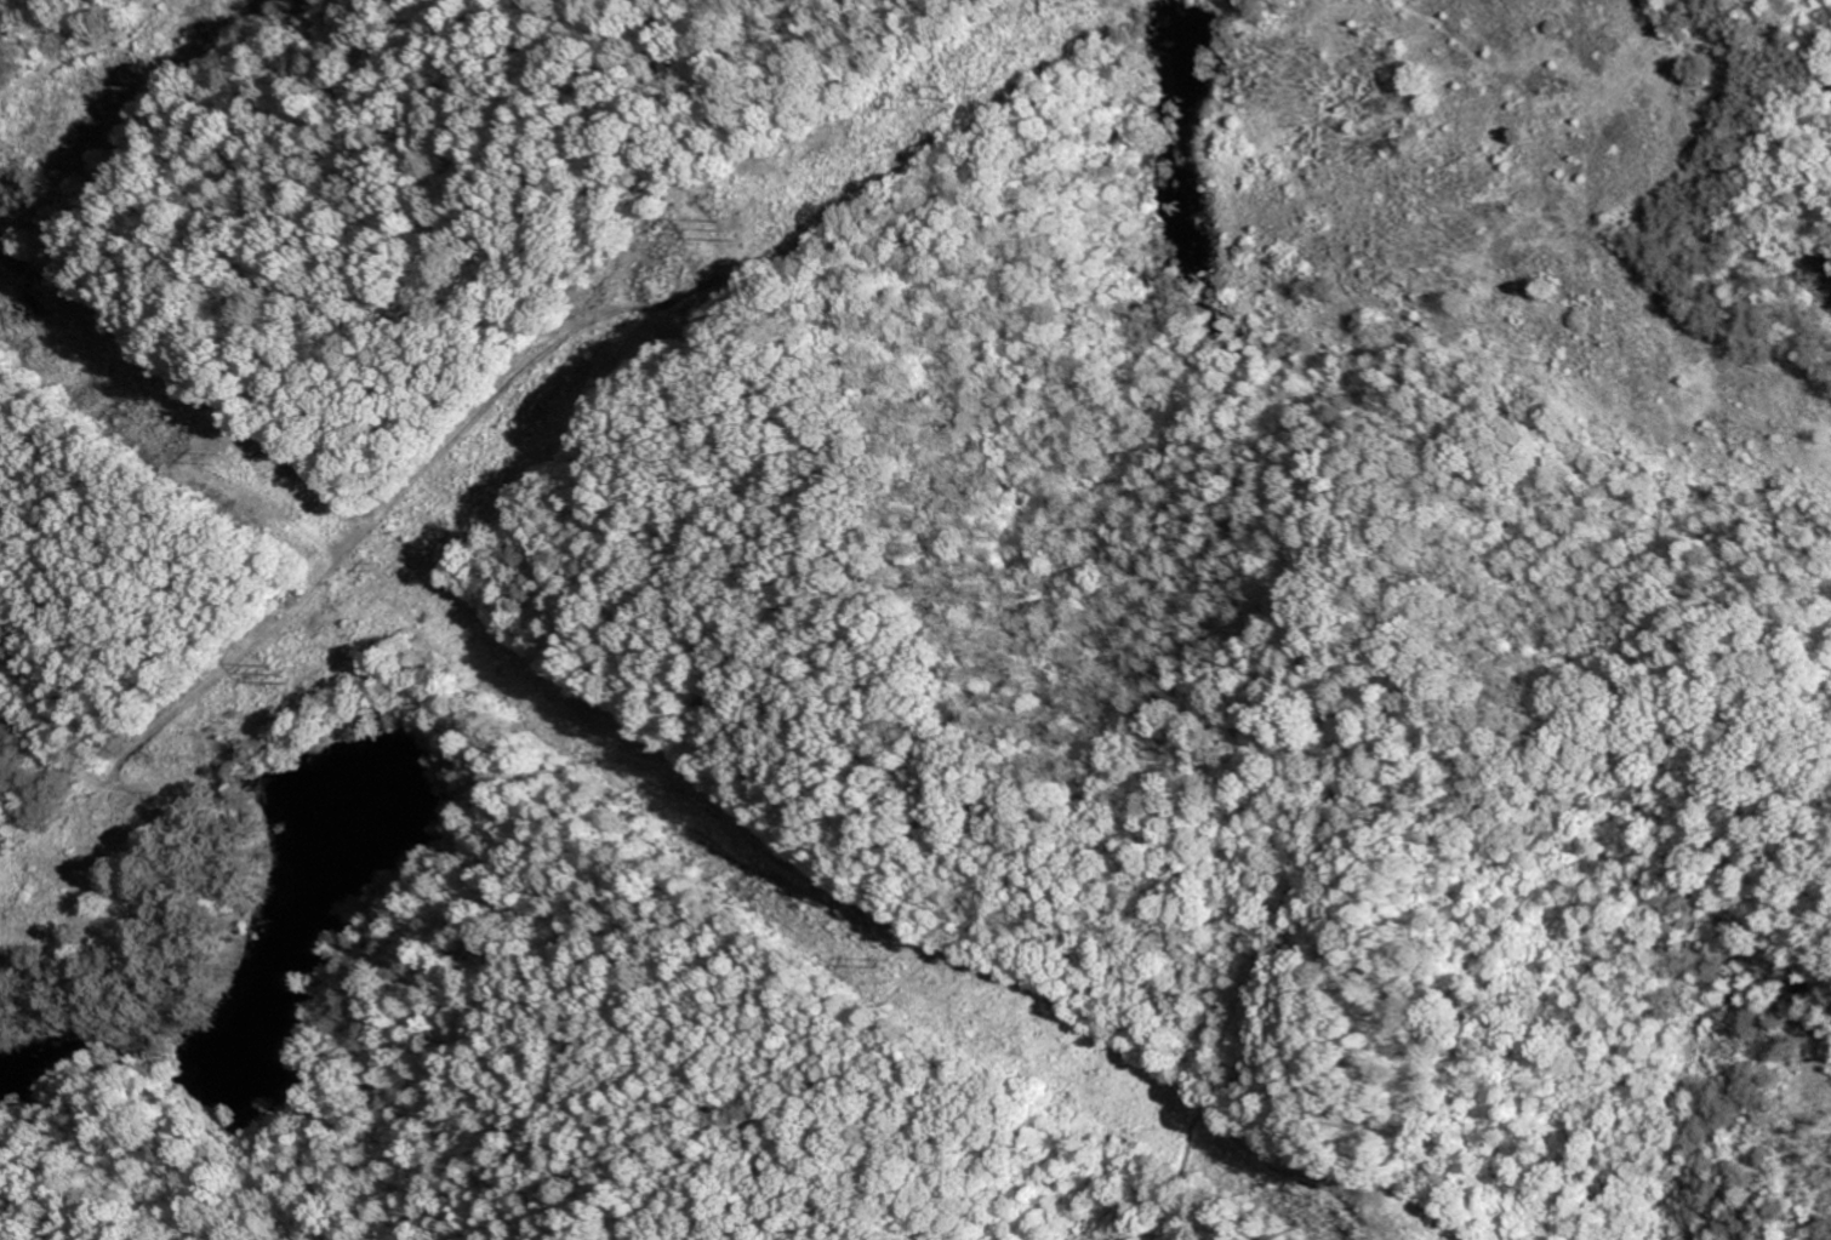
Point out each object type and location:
power tower: (965, 82)
power tower: (741, 224)
power tower: (235, 451)
power tower: (369, 562)
power tower: (274, 664)
power tower: (899, 955)

